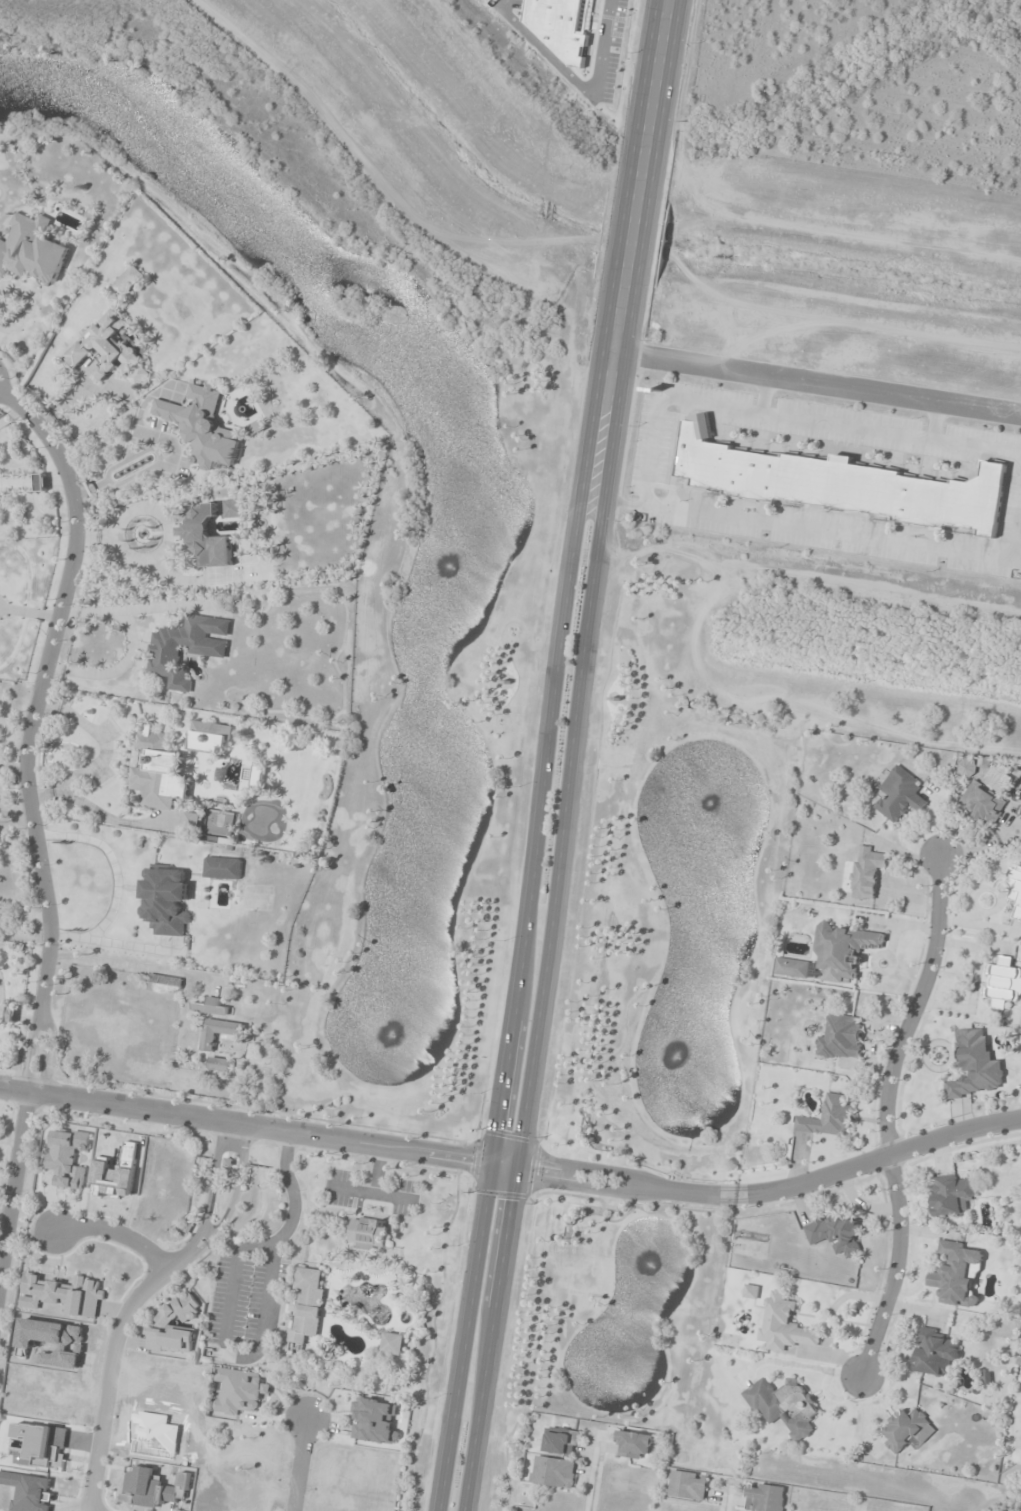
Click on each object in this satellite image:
road: (642, 169)
building: (32, 250)
building: (129, 282)
building: (105, 348)
road: (817, 375)
building: (140, 376)
building: (203, 426)
building: (257, 428)
building: (837, 483)
building: (234, 508)
building: (208, 538)
building: (187, 647)
building: (210, 737)
building: (967, 768)
building: (159, 771)
building: (260, 776)
building: (900, 795)
building: (983, 804)
road: (31, 810)
building: (224, 868)
building: (867, 871)
building: (1016, 892)
building: (167, 901)
road: (523, 924)
road: (549, 926)
building: (834, 955)
building: (1003, 982)
building: (165, 983)
building: (212, 1007)
building: (841, 1038)
building: (218, 1042)
building: (973, 1066)
road: (880, 1116)
building: (829, 1117)
road: (259, 1126)
building: (67, 1157)
traffic signals: (488, 1163)
traffic signals: (519, 1168)
building: (117, 1173)
road: (774, 1191)
building: (951, 1195)
road: (112, 1232)
building: (369, 1233)
building: (836, 1233)
building: (956, 1274)
building: (751, 1291)
building: (64, 1294)
road: (128, 1299)
building: (308, 1304)
building: (165, 1324)
building: (784, 1324)
building: (393, 1343)
building: (934, 1353)
building: (240, 1391)
building: (783, 1405)
building: (374, 1421)
building: (904, 1429)
building: (562, 1442)
building: (634, 1445)
road: (298, 1465)
building: (553, 1472)
building: (688, 1486)
building: (151, 1488)
building: (764, 1497)

